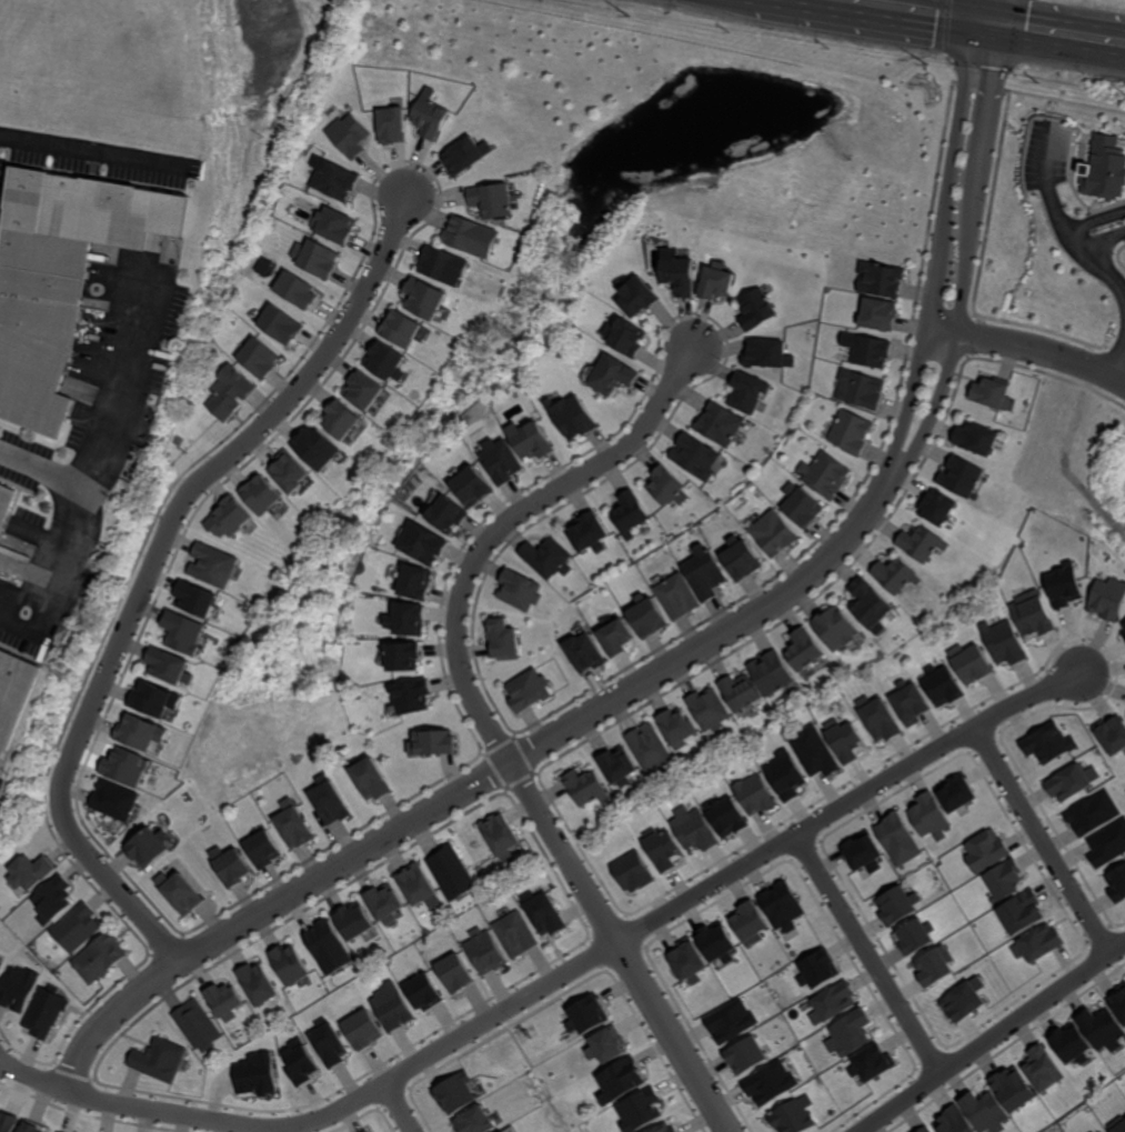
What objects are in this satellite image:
road: (906, 11)
road: (978, 11)
road: (1001, 12)
traffic signals: (977, 22)
road: (988, 23)
traffic signals: (1000, 26)
road: (1062, 36)
building: (430, 118)
building: (392, 126)
building: (351, 136)
building: (465, 157)
building: (1107, 171)
road: (951, 178)
building: (335, 180)
road: (977, 180)
building: (493, 200)
road: (1063, 222)
building: (335, 226)
road: (1113, 227)
building: (472, 236)
road: (1087, 236)
building: (318, 258)
building: (444, 266)
building: (677, 273)
building: (61, 278)
building: (880, 280)
building: (716, 283)
building: (298, 290)
building: (425, 298)
building: (637, 299)
building: (755, 310)
building: (878, 314)
building: (280, 324)
building: (401, 329)
road: (941, 334)
building: (624, 338)
road: (1044, 349)
building: (871, 353)
building: (766, 354)
building: (260, 359)
road: (1115, 360)
building: (386, 362)
building: (612, 375)
building: (860, 390)
building: (231, 391)
building: (363, 391)
building: (747, 391)
building: (993, 393)
road: (911, 413)
building: (572, 417)
road: (933, 419)
building: (341, 420)
road: (110, 424)
building: (720, 424)
building: (851, 433)
building: (976, 439)
building: (529, 440)
building: (317, 447)
building: (695, 455)
building: (501, 462)
building: (290, 472)
building: (825, 475)
building: (962, 478)
building: (665, 487)
building: (473, 488)
building: (262, 495)
building: (6, 503)
building: (800, 507)
building: (936, 509)
building: (627, 513)
building: (448, 515)
building: (230, 519)
building: (586, 532)
building: (773, 534)
building: (423, 544)
building: (922, 544)
building: (546, 559)
building: (740, 559)
road: (64, 560)
building: (213, 565)
road: (153, 567)
building: (704, 574)
building: (896, 577)
building: (416, 582)
building: (1065, 585)
building: (519, 590)
building: (676, 597)
building: (1108, 599)
building: (198, 600)
building: (870, 604)
building: (1032, 614)
building: (646, 617)
building: (406, 620)
building: (836, 630)
building: (1123, 631)
building: (184, 632)
building: (502, 639)
building: (615, 639)
building: (1003, 642)
building: (804, 651)
building: (583, 653)
building: (403, 657)
building: (968, 662)
building: (170, 665)
building: (771, 672)
building: (941, 687)
building: (741, 691)
building: (528, 692)
building: (13, 693)
building: (411, 697)
building: (155, 699)
building: (910, 702)
building: (710, 709)
building: (880, 718)
road: (484, 720)
building: (676, 729)
building: (141, 732)
building: (1112, 733)
building: (845, 740)
building: (1047, 743)
building: (433, 744)
building: (649, 750)
building: (815, 752)
building: (617, 765)
building: (127, 769)
building: (785, 775)
building: (371, 781)
building: (1073, 782)
building: (586, 787)
road: (471, 789)
building: (957, 792)
building: (755, 795)
building: (115, 800)
building: (329, 803)
building: (1094, 813)
building: (928, 817)
building: (725, 818)
building: (293, 829)
building: (693, 829)
building: (500, 837)
road: (1043, 839)
building: (897, 840)
building: (1108, 845)
building: (149, 847)
building: (662, 849)
building: (261, 850)
building: (864, 851)
building: (986, 851)
building: (231, 864)
building: (32, 873)
building: (631, 873)
building: (452, 874)
building: (1004, 881)
building: (1117, 883)
building: (418, 886)
building: (180, 892)
building: (51, 899)
building: (385, 904)
building: (782, 905)
building: (897, 905)
building: (543, 912)
building: (1023, 913)
building: (353, 921)
building: (747, 925)
building: (79, 928)
building: (515, 934)
building: (914, 936)
building: (716, 942)
building: (1037, 942)
building: (329, 948)
building: (484, 952)
road: (868, 954)
building: (99, 959)
building: (686, 961)
building: (934, 964)
building: (1, 965)
building: (290, 965)
building: (816, 970)
building: (456, 973)
road: (556, 979)
building: (258, 985)
building: (19, 989)
building: (424, 992)
building: (224, 1002)
building: (965, 1002)
building: (1118, 1003)
building: (832, 1004)
building: (392, 1008)
building: (44, 1013)
building: (586, 1016)
building: (731, 1021)
building: (199, 1028)
building: (363, 1030)
building: (1103, 1030)
building: (847, 1034)
road: (990, 1036)
building: (1072, 1042)
building: (330, 1043)
building: (606, 1046)
building: (744, 1055)
building: (159, 1061)
building: (299, 1061)
building: (870, 1062)
building: (1044, 1069)
building: (257, 1075)
building: (620, 1081)
building: (769, 1083)
building: (1014, 1089)
building: (456, 1094)
road: (400, 1108)
building: (640, 1110)
building: (983, 1111)
building: (793, 1115)
building: (478, 1121)
building: (953, 1121)
building: (7, 1122)
building: (1117, 1124)
building: (33, 1128)
building: (664, 1128)
building: (922, 1129)
building: (365, 1131)
building: (503, 1131)
building: (1099, 1131)

